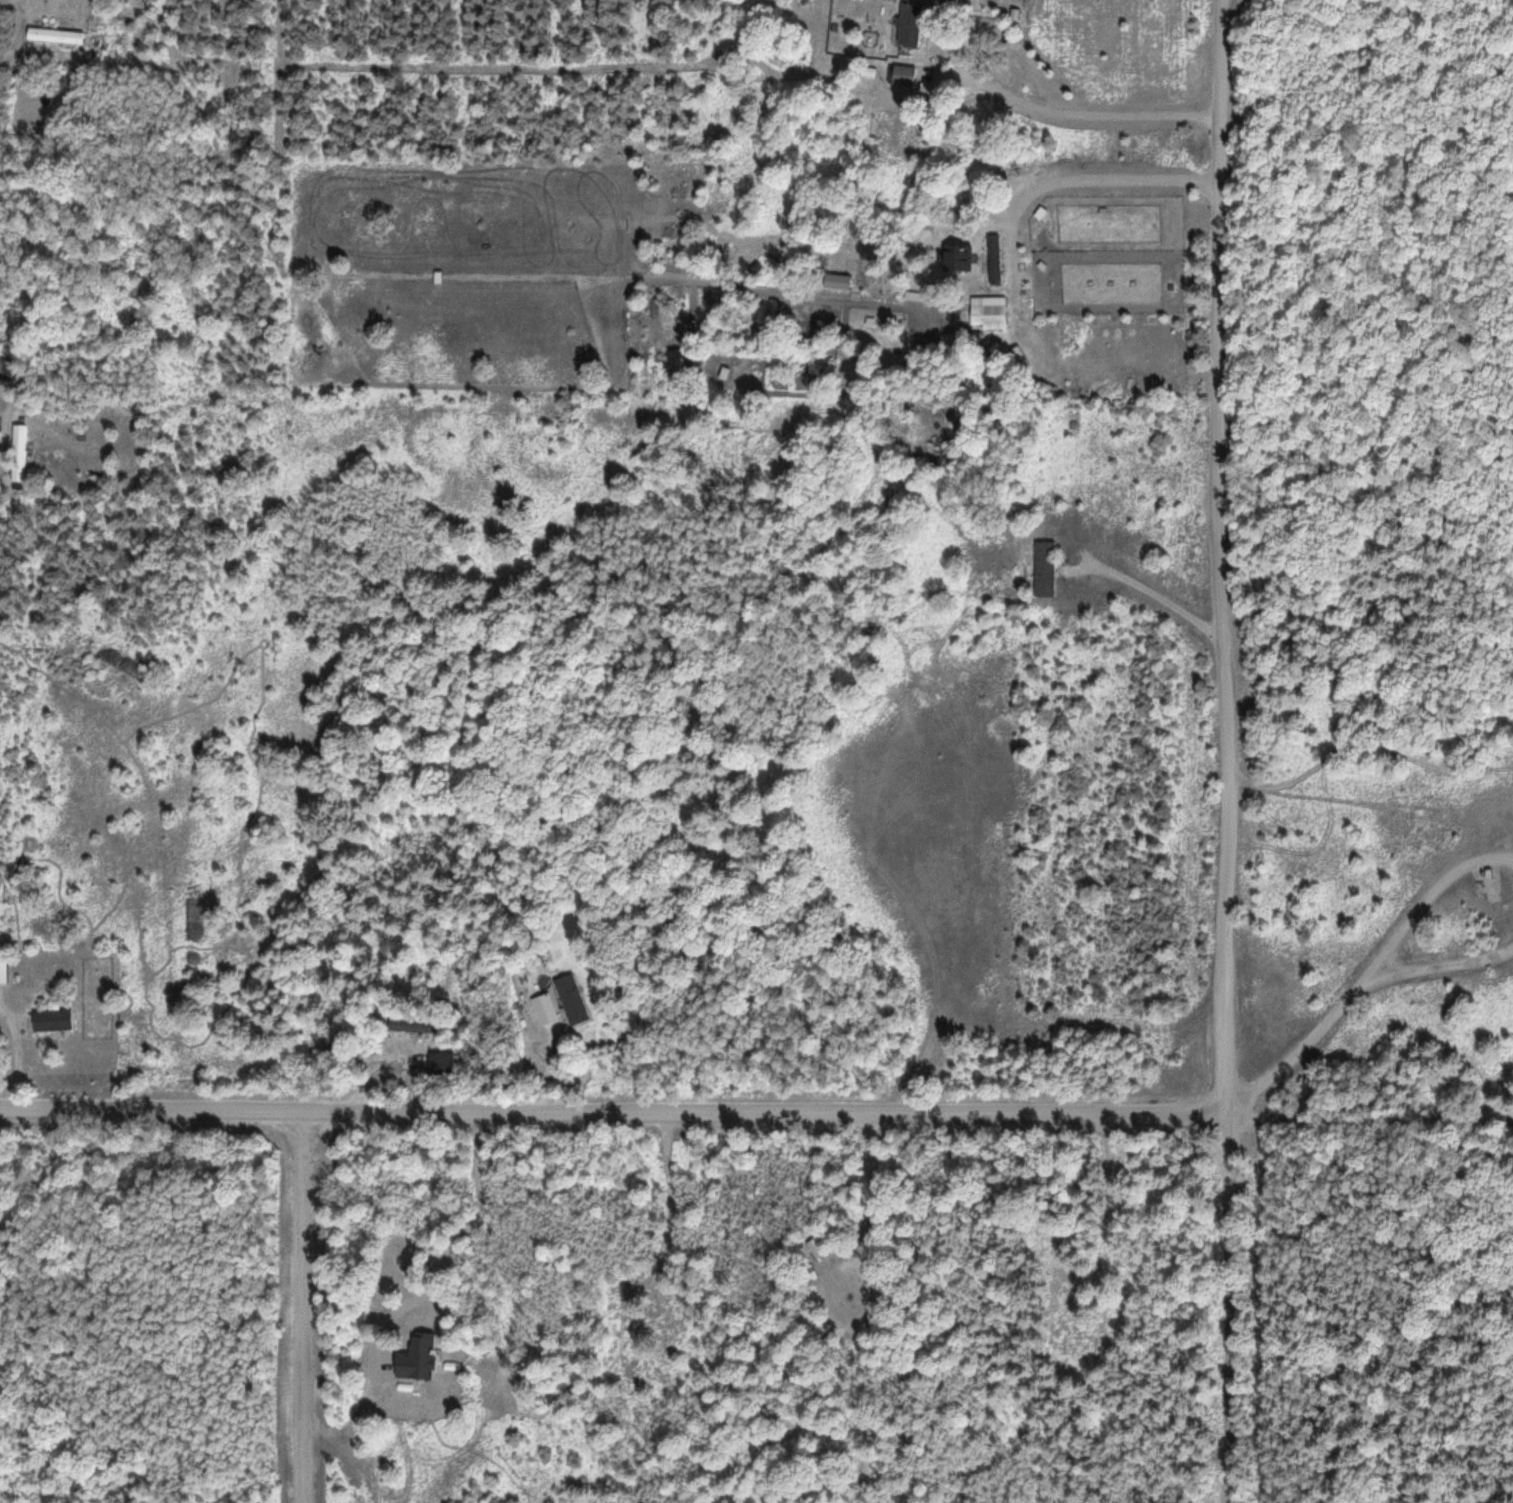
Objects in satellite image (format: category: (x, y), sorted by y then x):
building: (907, 24)
building: (59, 36)
building: (901, 75)
building: (995, 259)
building: (986, 312)
building: (22, 452)
building: (884, 499)
road: (1218, 553)
building: (1041, 566)
road: (1143, 588)
road: (1363, 749)
road: (1426, 897)
building: (5, 967)
road: (1352, 992)
building: (575, 999)
building: (548, 1009)
building: (57, 1019)
building: (416, 1025)
building: (446, 1062)
road: (613, 1113)
road: (1368, 1120)
road: (1231, 1305)
road: (301, 1308)

